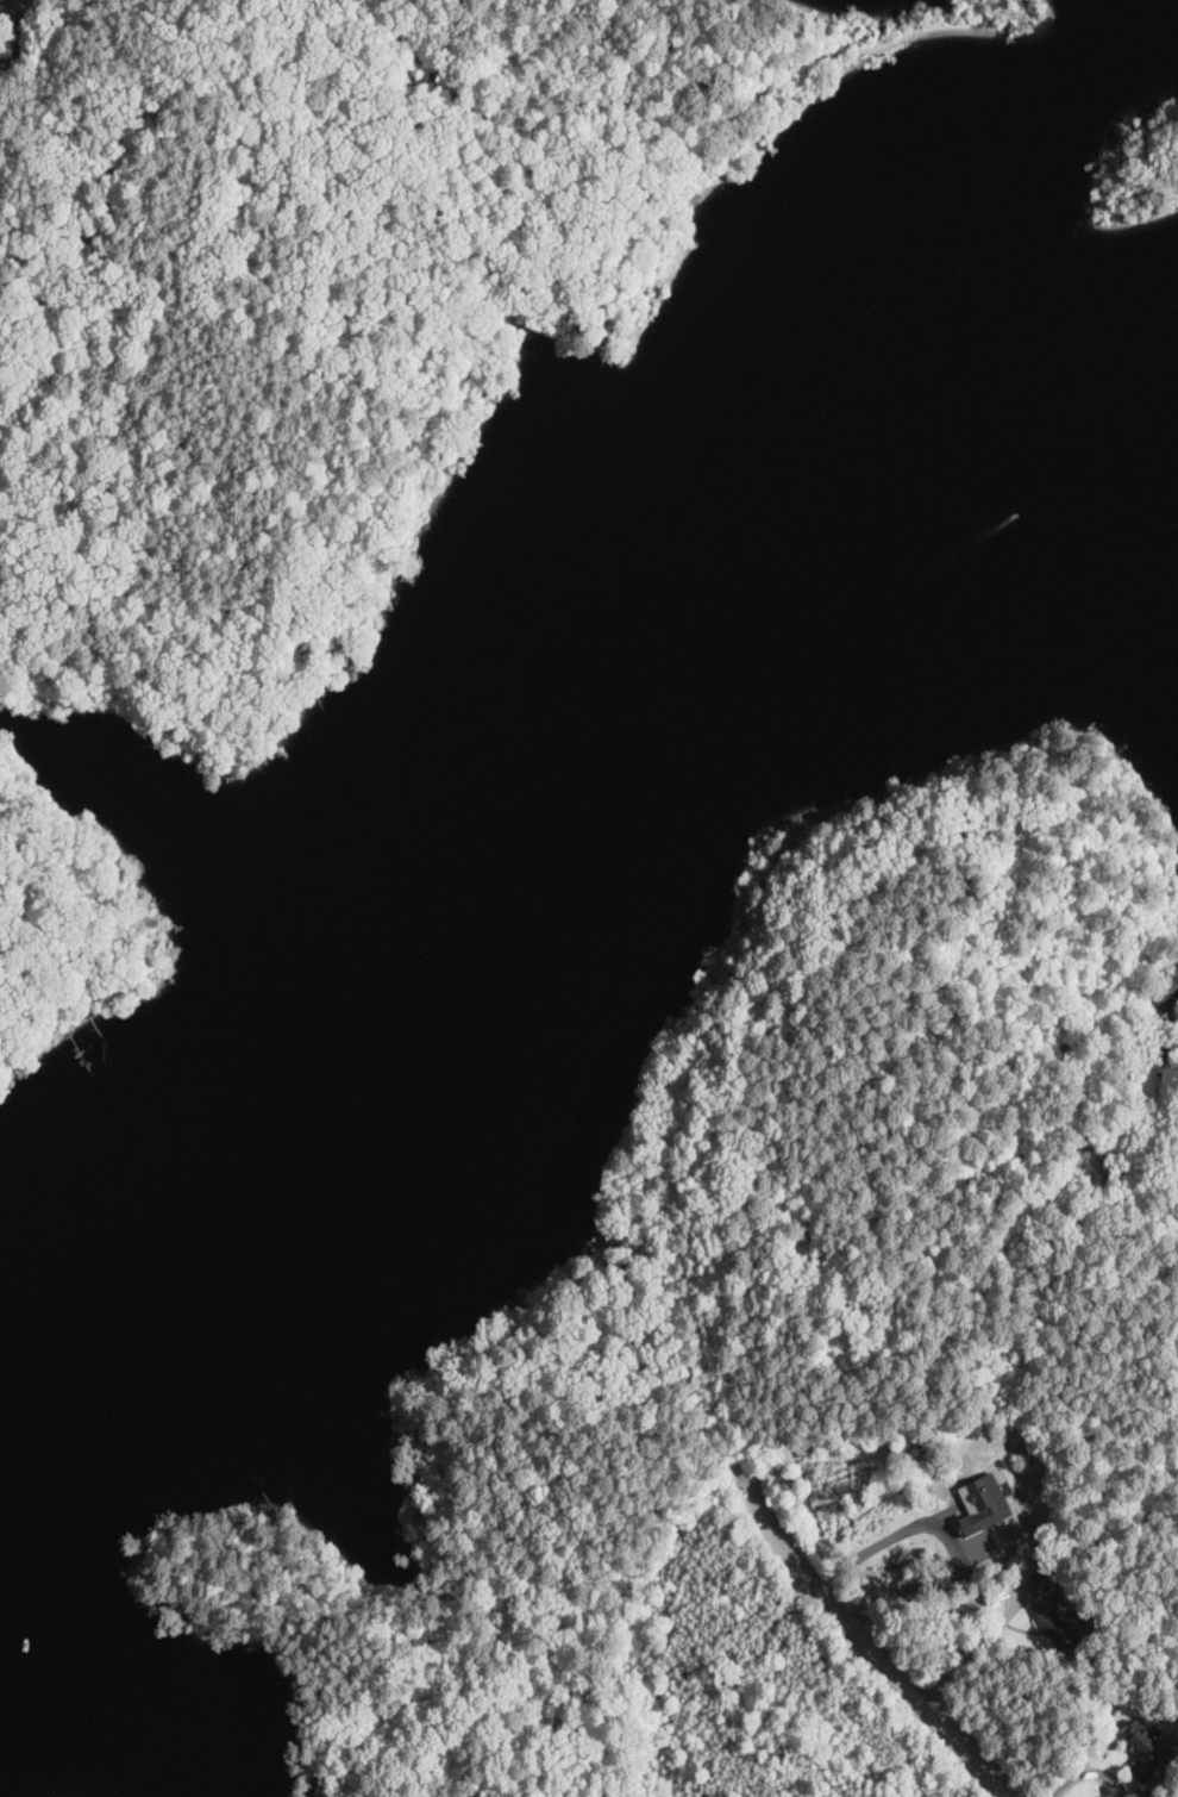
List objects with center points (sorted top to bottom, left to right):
road: (11, 2)
road: (5, 8)
road: (104, 21)
road: (21, 38)
road: (678, 88)
park: (333, 300)
road: (365, 426)
road: (46, 917)
park: (70, 925)
park: (920, 1115)
road: (666, 1314)
building: (985, 1490)
road: (950, 1536)
building: (1049, 1612)
road: (866, 1640)
road: (975, 1655)
building: (1140, 1749)

